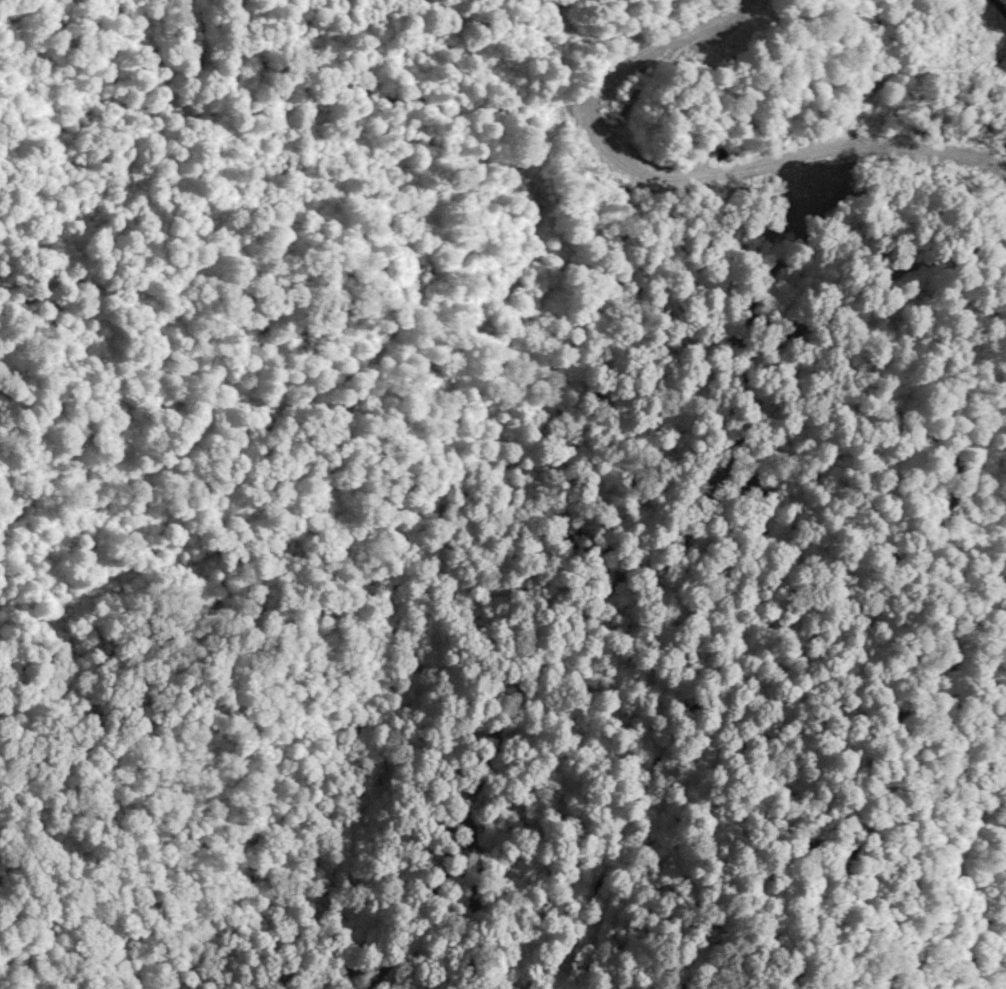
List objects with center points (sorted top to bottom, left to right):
railway: (673, 200)

